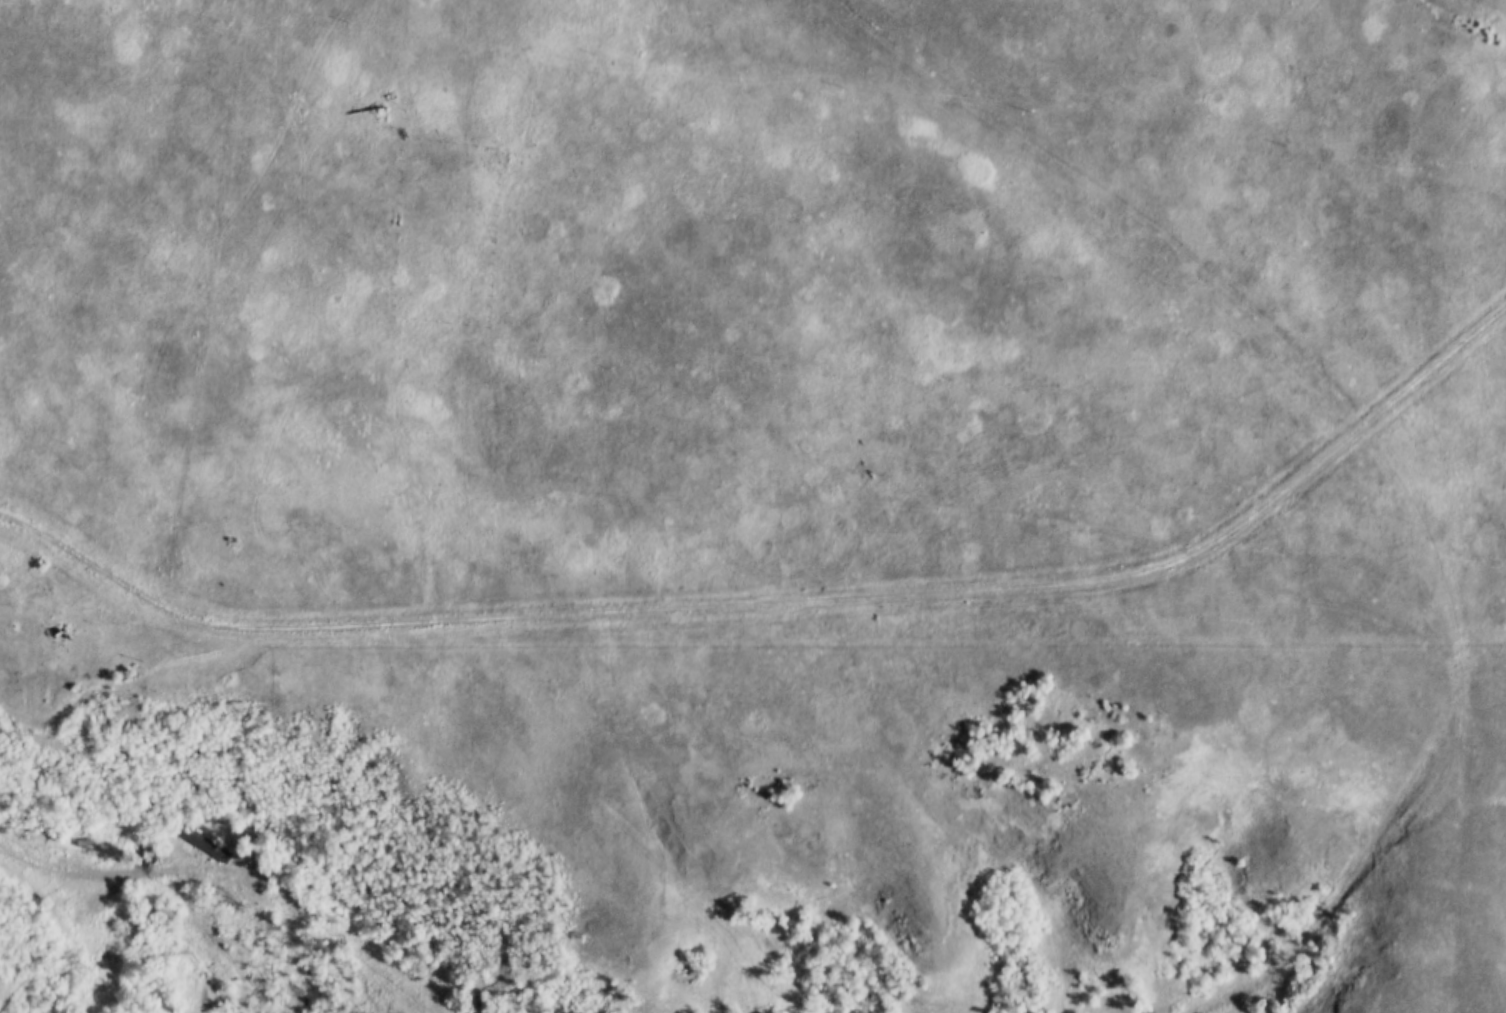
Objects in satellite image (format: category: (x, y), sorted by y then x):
road: (784, 609)
building: (198, 840)
building: (76, 845)
road: (130, 893)
building: (162, 908)
building: (158, 915)

